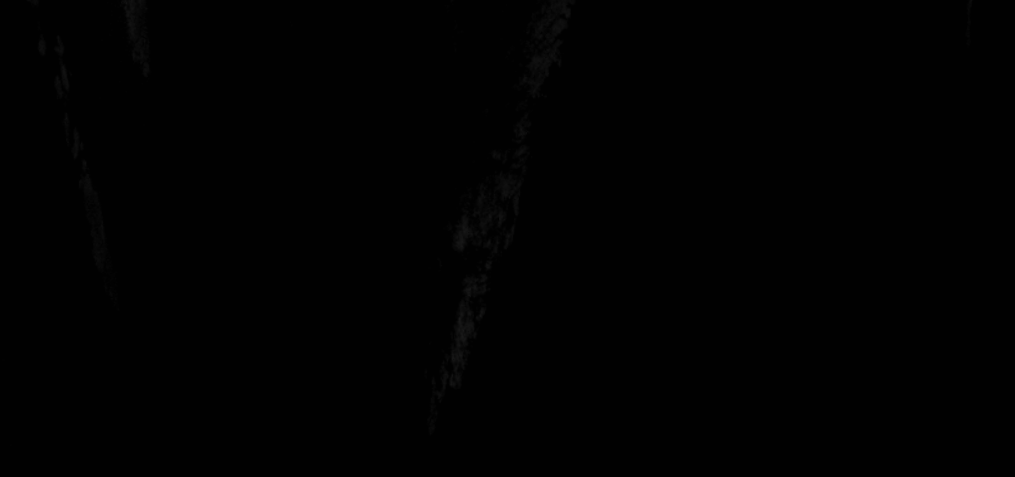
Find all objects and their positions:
river: (739, 238)

